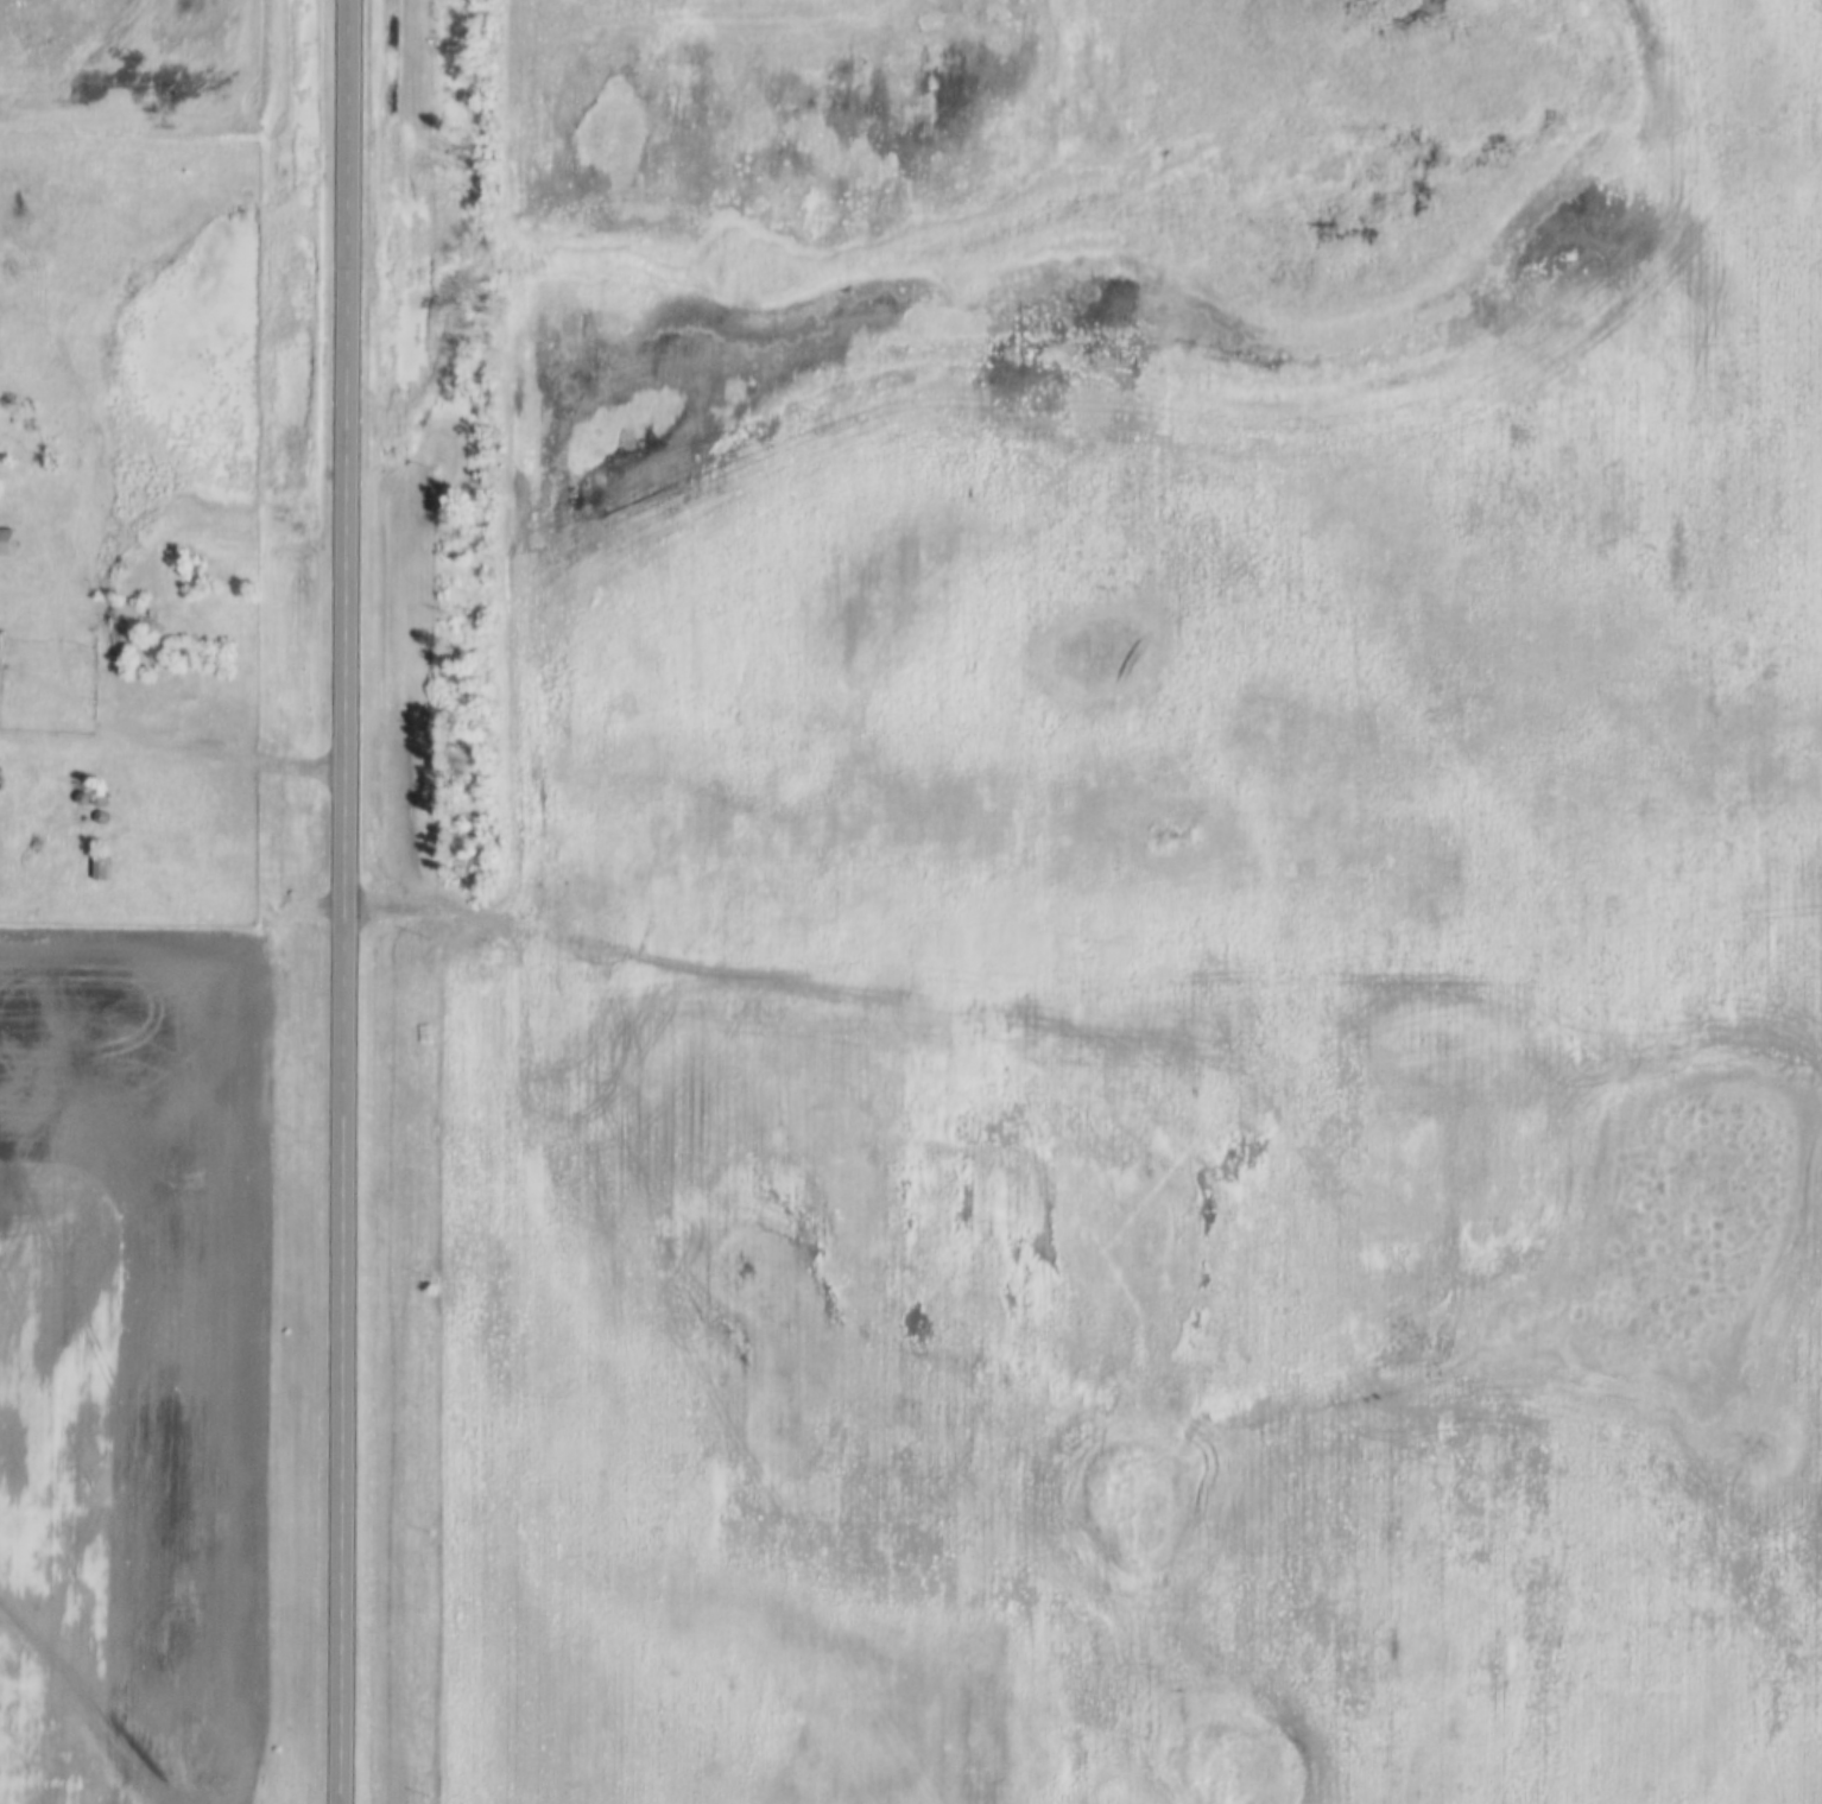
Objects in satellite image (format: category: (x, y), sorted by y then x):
building: (6, 543)
road: (504, 590)
building: (114, 644)
building: (143, 659)
road: (173, 753)
building: (100, 869)
road: (347, 901)

